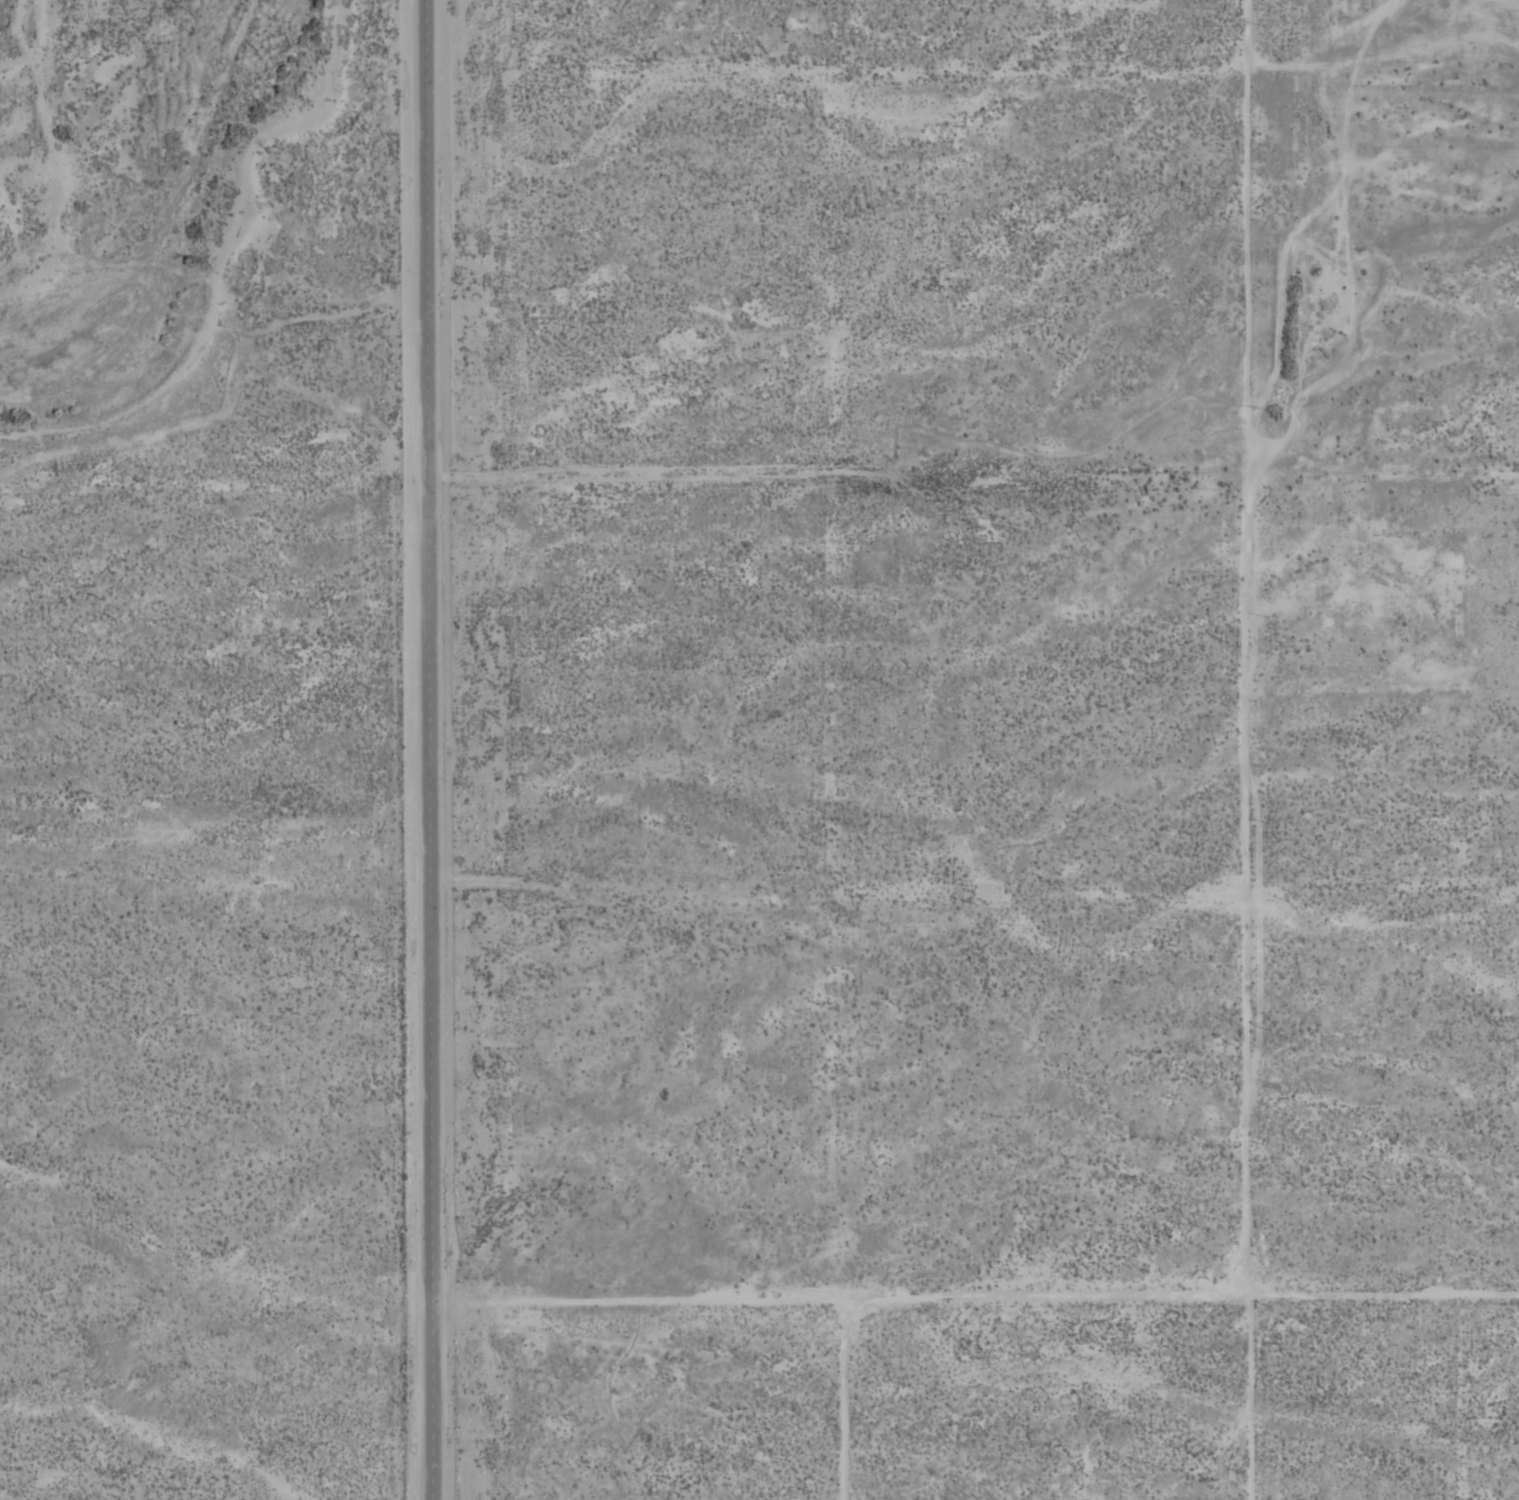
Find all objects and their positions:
road: (1385, 480)
road: (1250, 639)
road: (424, 749)
road: (973, 1283)

